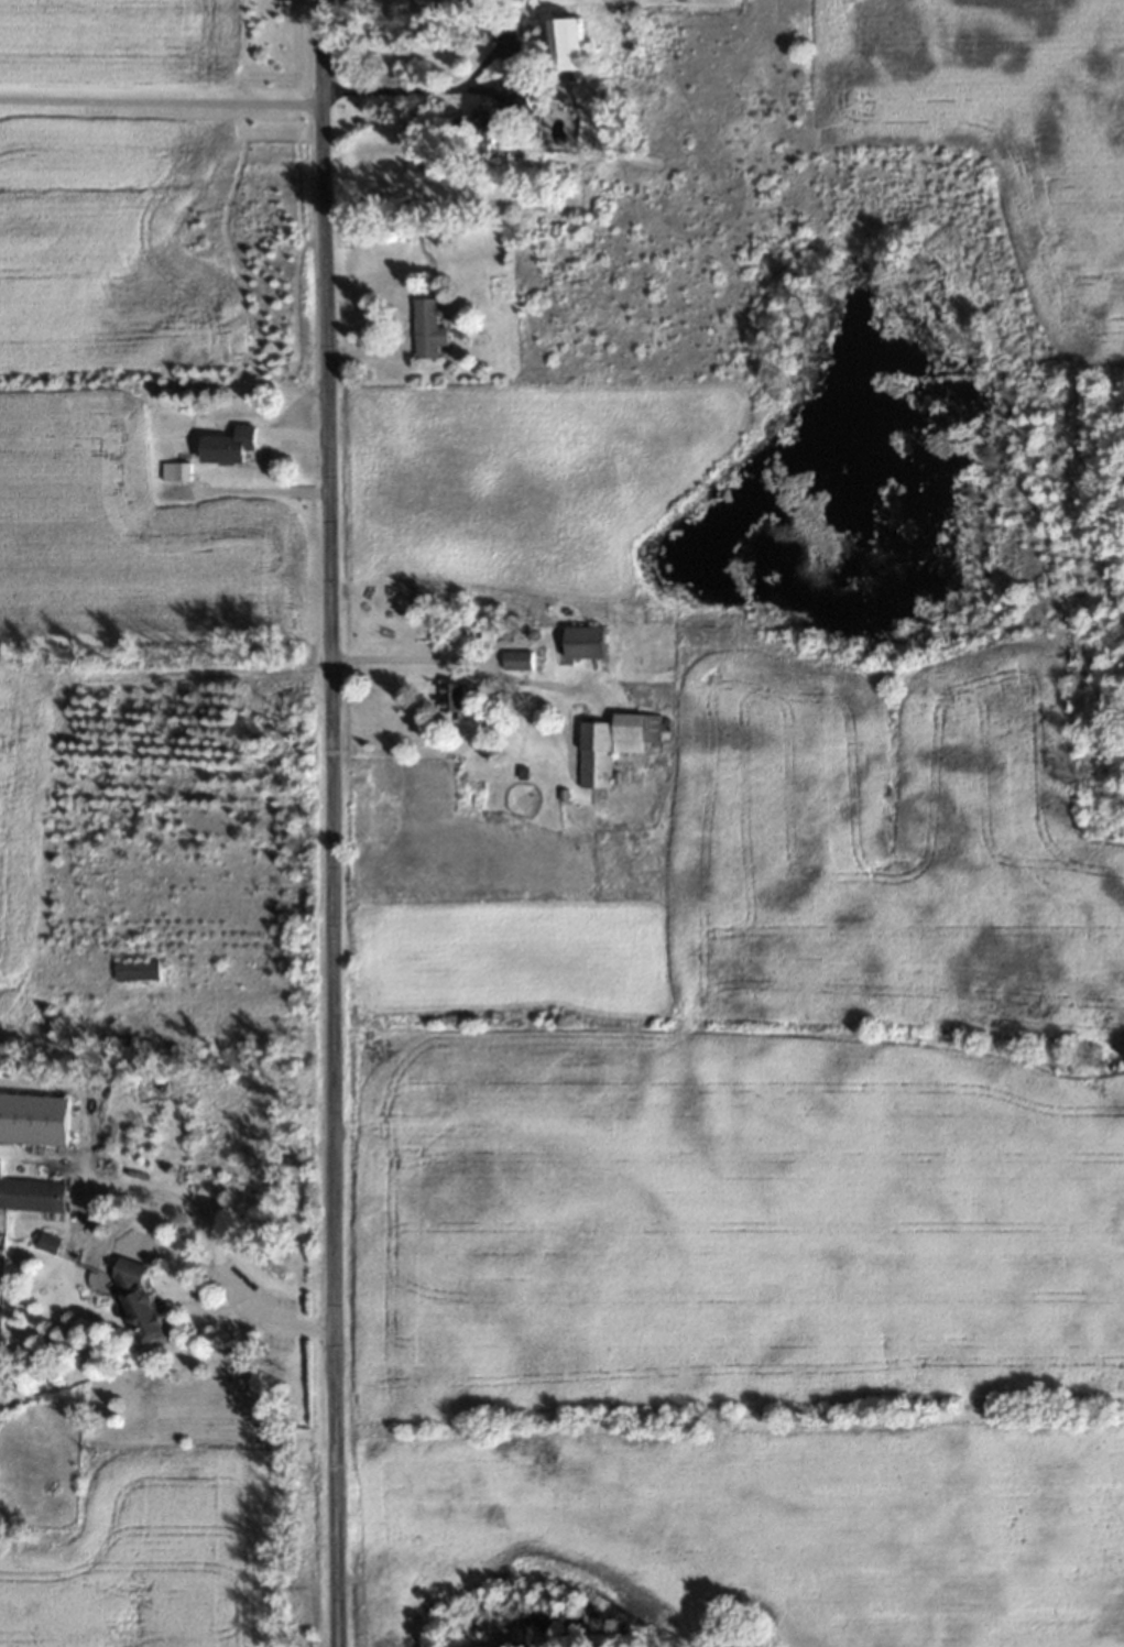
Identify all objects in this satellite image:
building: (504, 31)
building: (565, 44)
road: (412, 87)
road: (167, 99)
building: (494, 120)
building: (426, 329)
building: (228, 445)
building: (173, 471)
building: (586, 642)
building: (517, 659)
road: (417, 670)
building: (452, 701)
building: (615, 744)
road: (343, 823)
building: (33, 1119)
building: (31, 1195)
road: (201, 1226)
building: (142, 1300)

